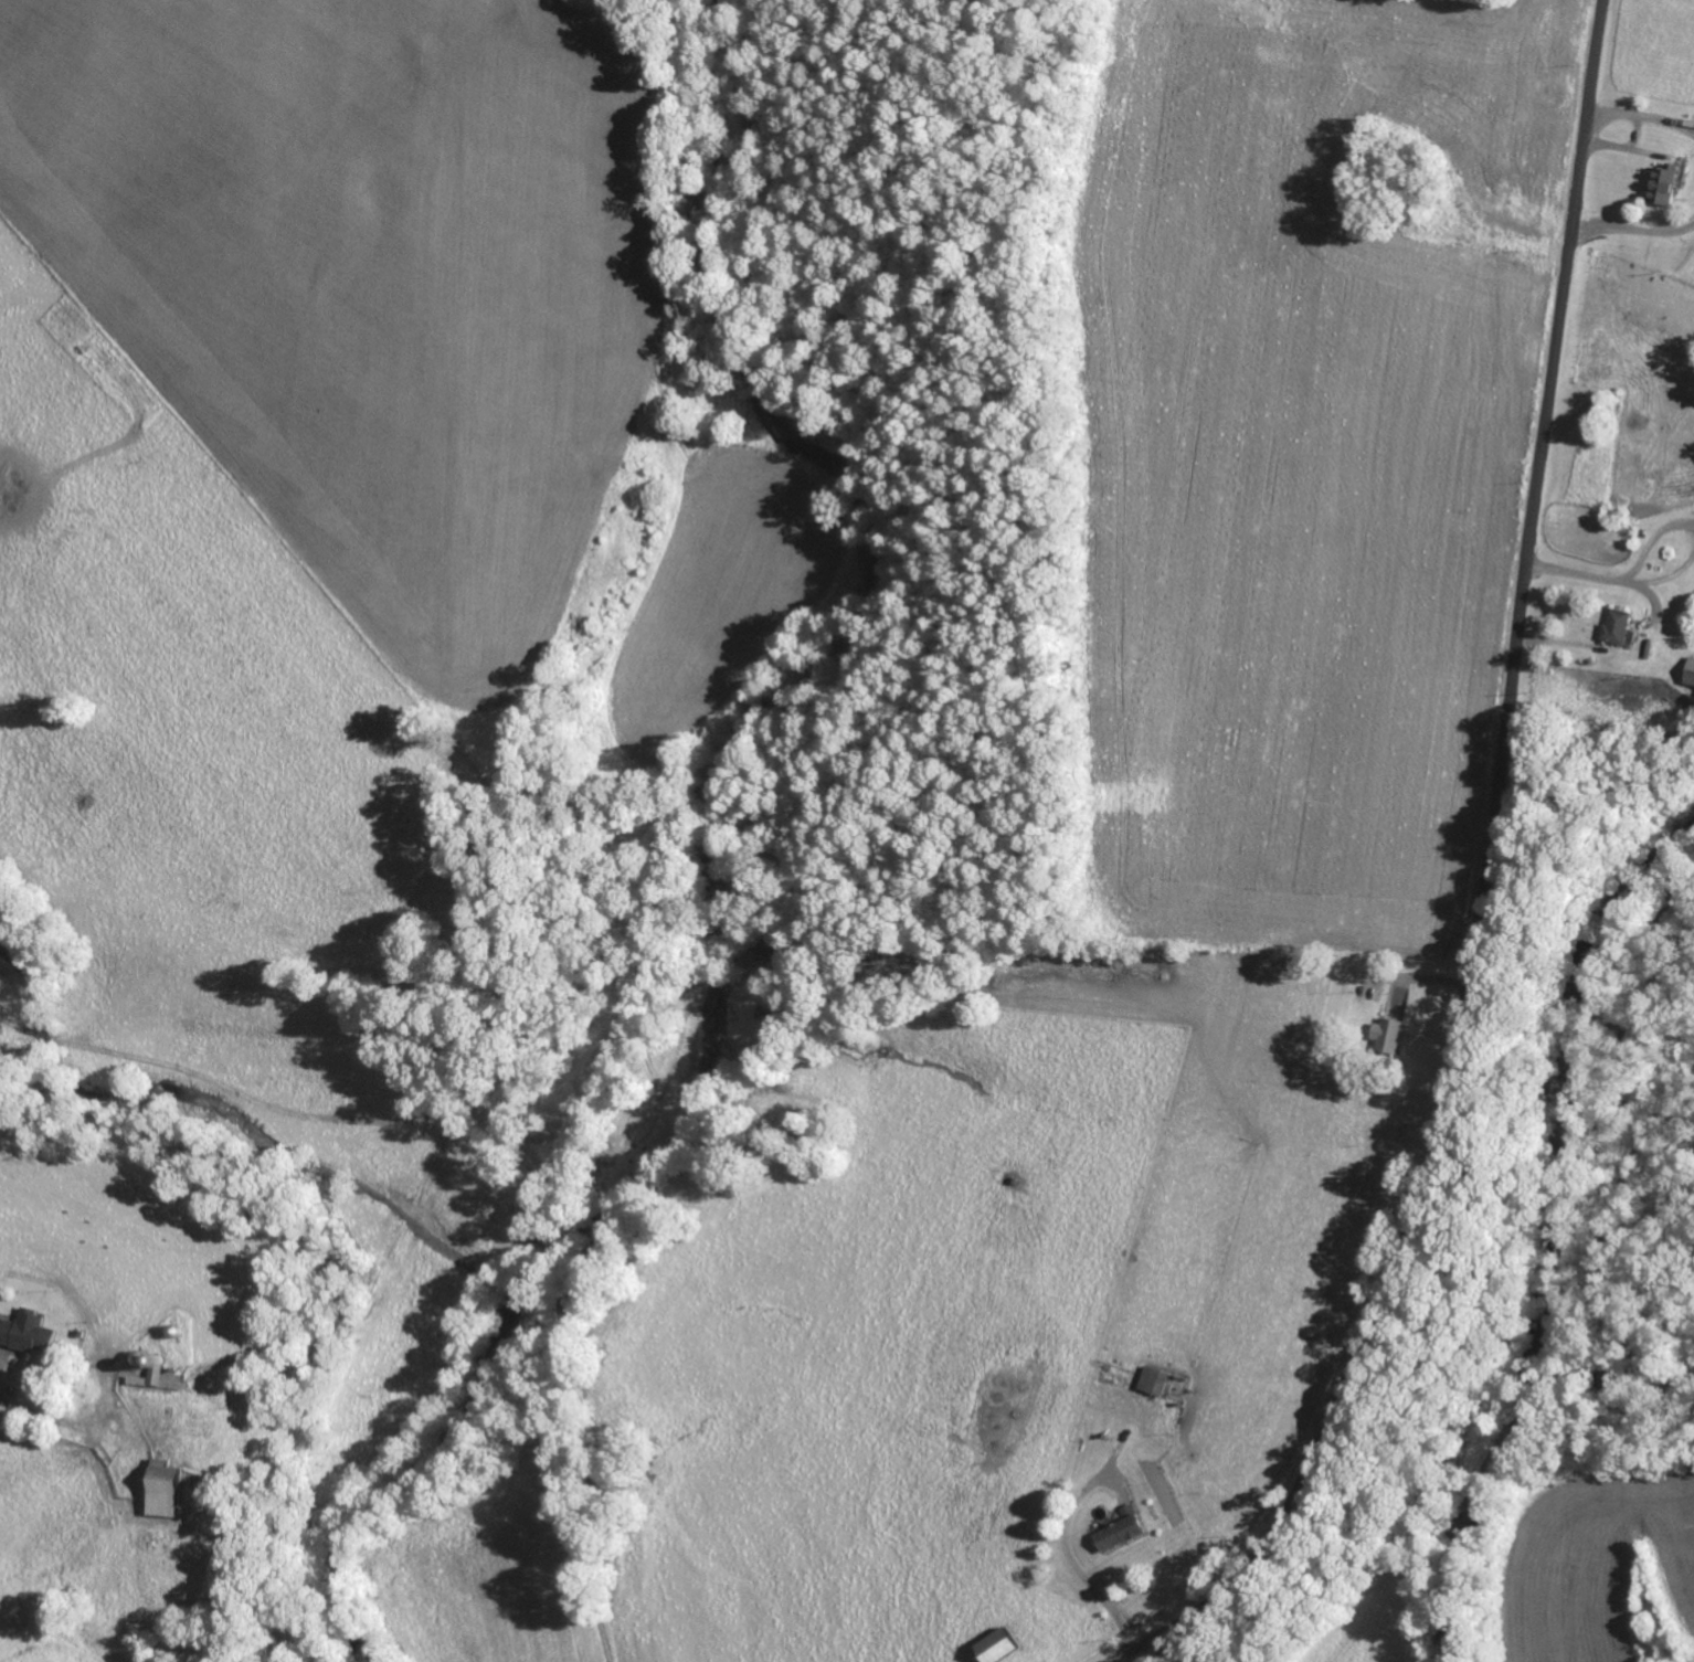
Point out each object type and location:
building: (1662, 184)
building: (1617, 625)
building: (1691, 671)
road: (1482, 887)
building: (1387, 1028)
building: (24, 1331)
building: (153, 1379)
road: (15, 1433)
building: (159, 1489)
building: (1118, 1531)
building: (994, 1647)

